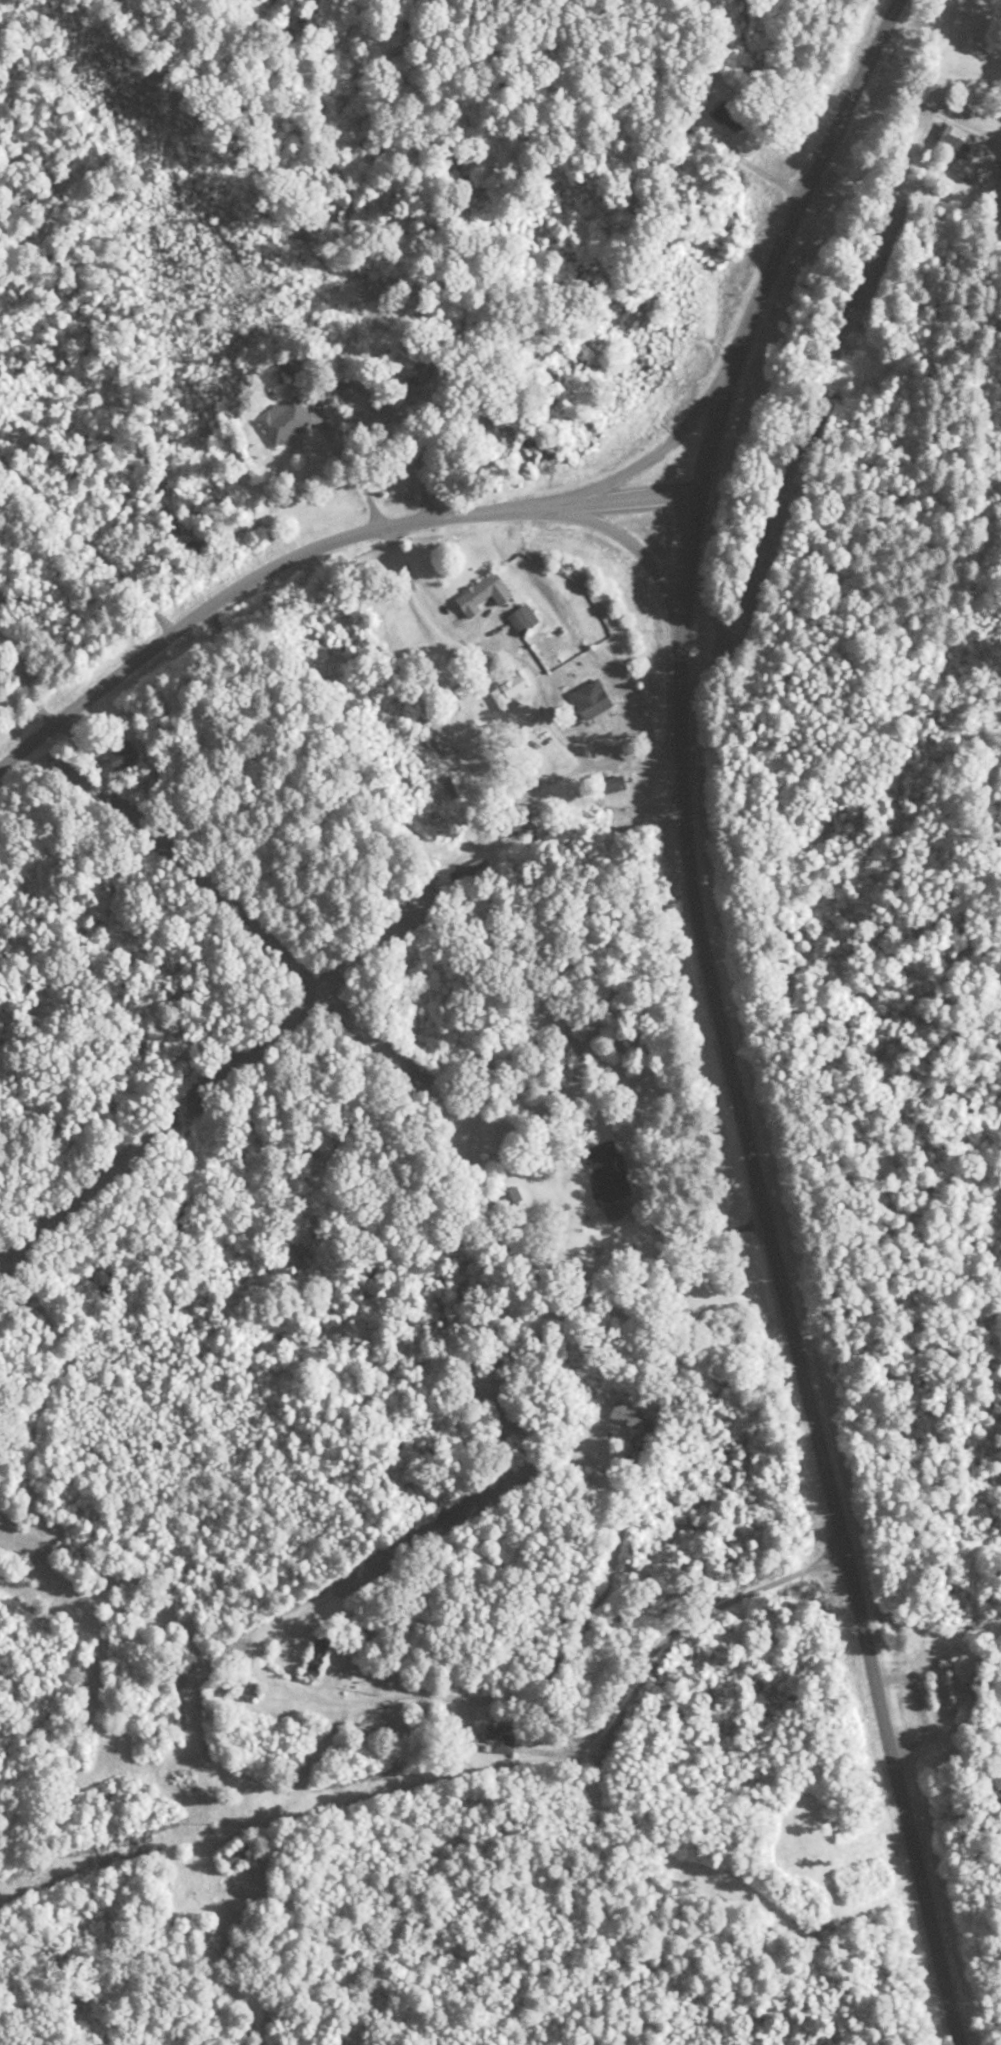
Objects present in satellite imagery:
building: (729, 116)
building: (951, 142)
building: (349, 386)
building: (283, 420)
road: (646, 457)
road: (581, 505)
road: (634, 550)
building: (481, 594)
building: (519, 621)
building: (590, 699)
building: (428, 737)
building: (120, 756)
building: (611, 784)
building: (449, 787)
building: (610, 1173)
building: (511, 1200)
road: (776, 1277)
building: (627, 1415)
road: (602, 1471)
road: (729, 1607)
building: (319, 1657)
building: (942, 1662)
building: (247, 1683)
building: (947, 1689)
road: (533, 1700)
road: (614, 1718)
building: (503, 1741)
building: (239, 1855)

